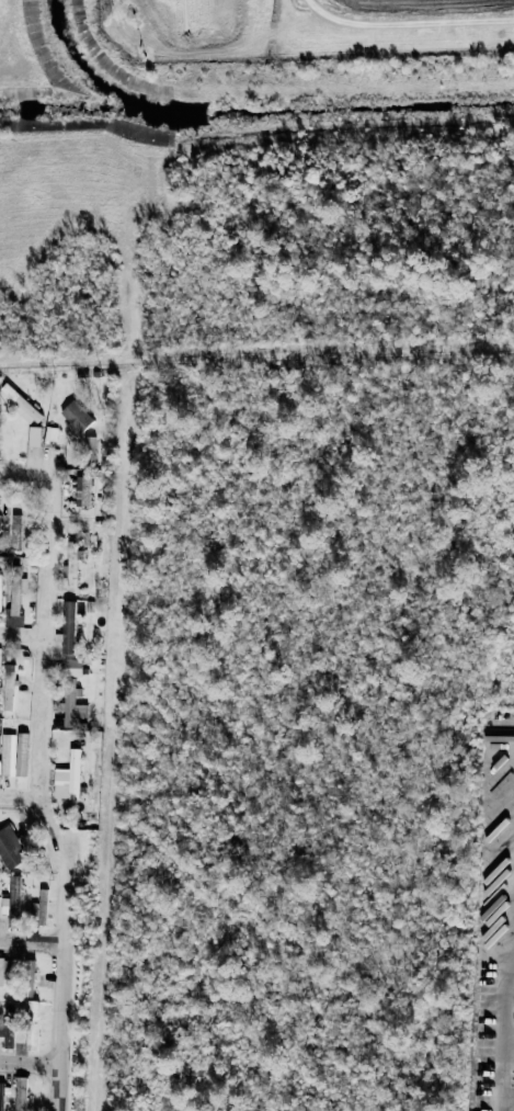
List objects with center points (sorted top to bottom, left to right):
road: (408, 21)
road: (256, 355)
building: (21, 405)
building: (76, 416)
building: (50, 435)
building: (34, 437)
building: (89, 449)
road: (25, 476)
building: (84, 490)
building: (72, 564)
building: (0, 590)
building: (14, 605)
building: (68, 626)
road: (22, 640)
building: (0, 656)
building: (72, 667)
building: (9, 687)
building: (71, 705)
building: (8, 755)
building: (68, 778)
road: (37, 797)
road: (19, 800)
building: (10, 849)
building: (14, 895)
building: (4, 905)
building: (39, 907)
road: (33, 942)
building: (3, 972)
building: (27, 977)
building: (32, 1025)
building: (7, 1034)
road: (503, 1038)
road: (28, 1063)
building: (20, 1093)
building: (1, 1096)

